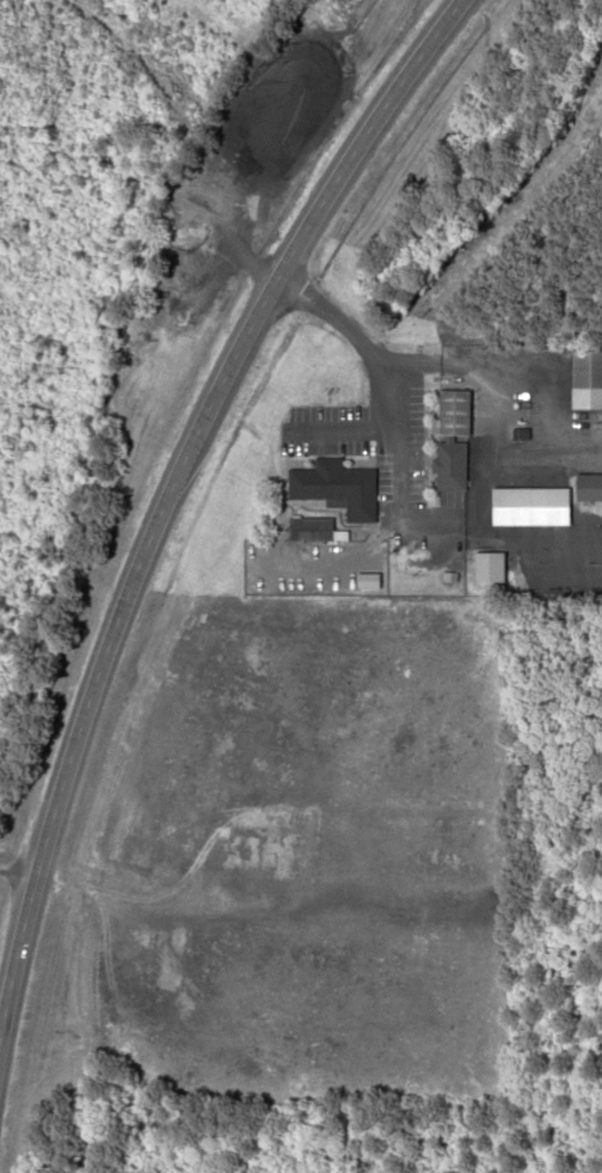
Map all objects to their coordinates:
building: (588, 380)
building: (454, 440)
road: (168, 488)
building: (339, 488)
building: (590, 488)
building: (315, 530)
road: (14, 872)

